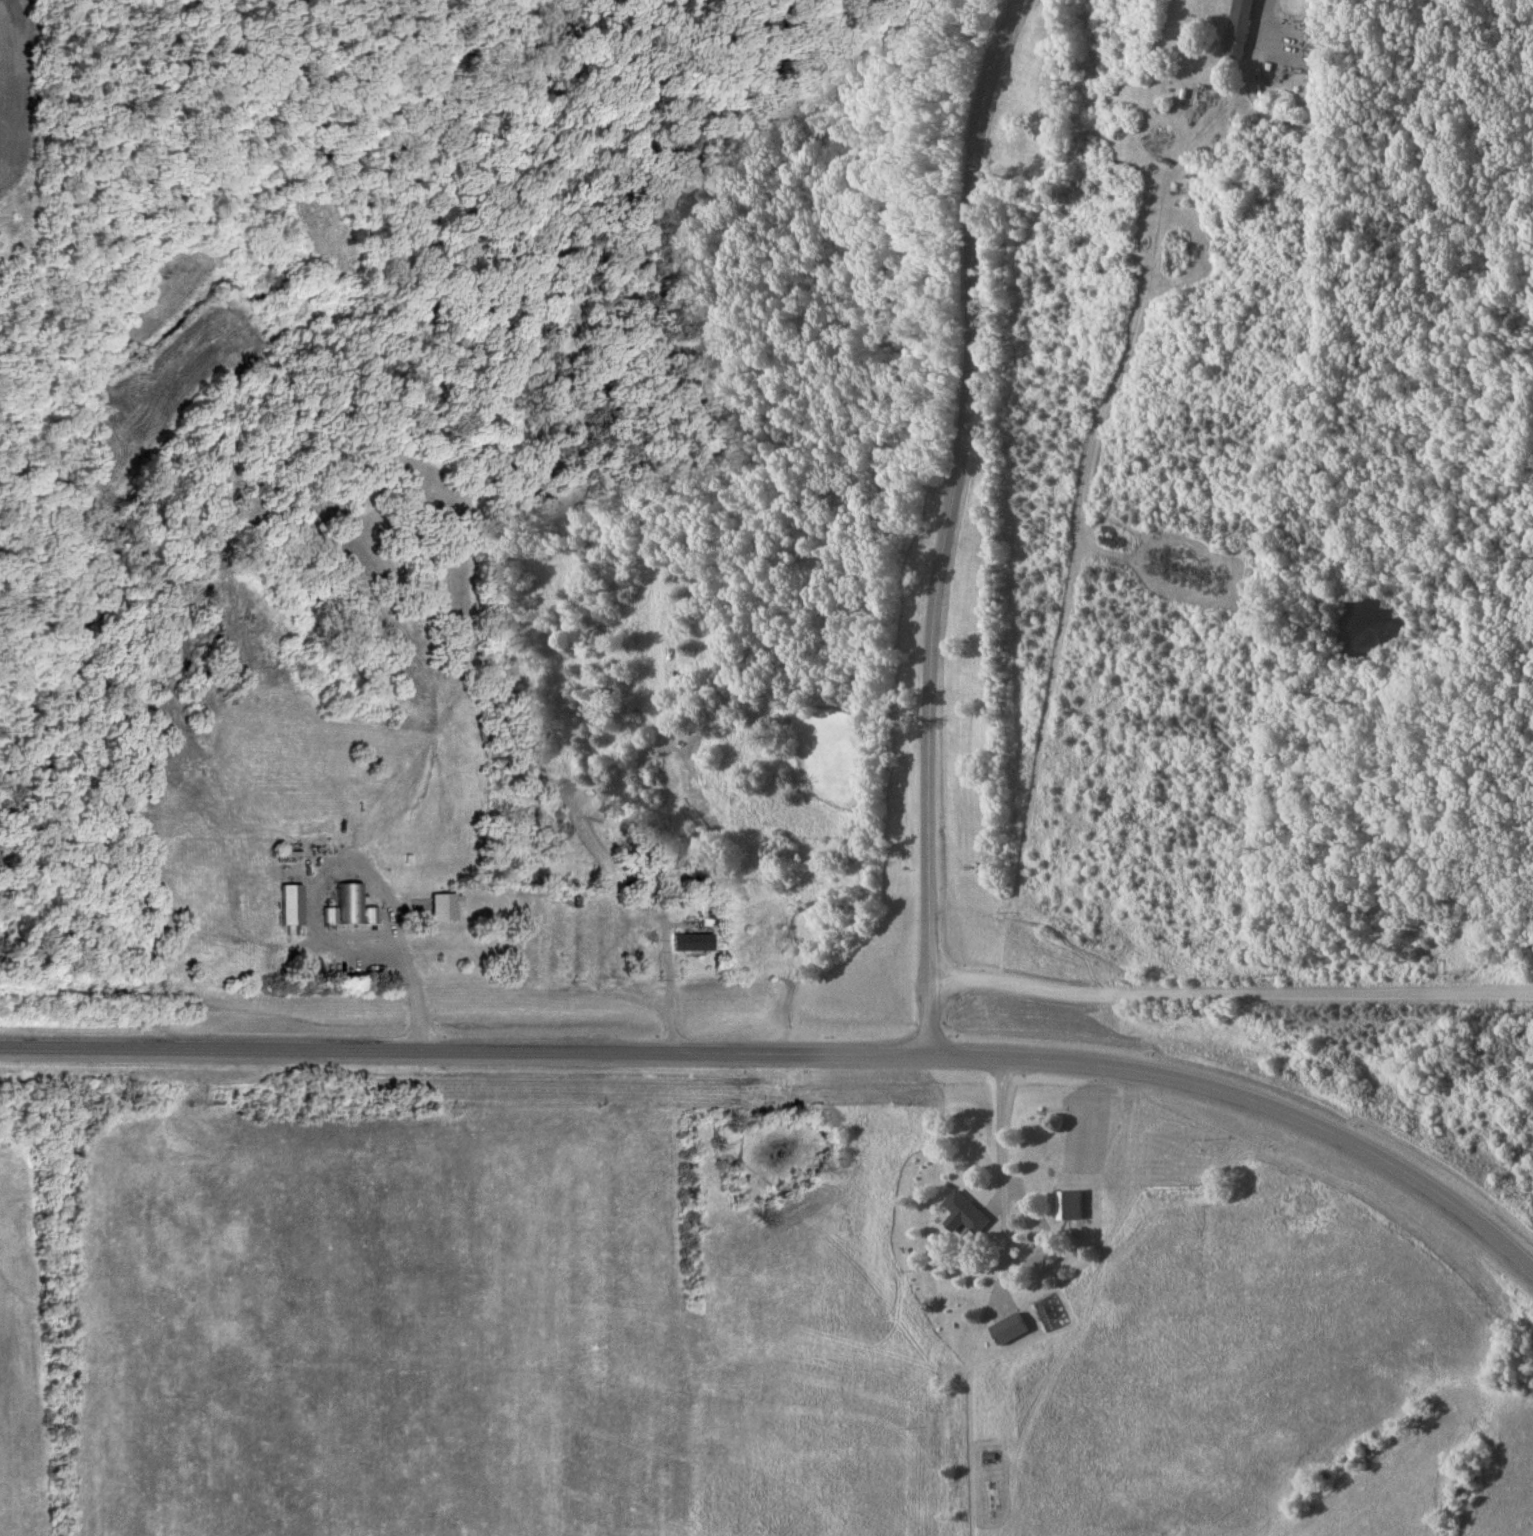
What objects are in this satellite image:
road: (1267, 11)
building: (1239, 29)
road: (890, 53)
road: (296, 70)
park: (764, 480)
road: (951, 525)
road: (970, 526)
building: (294, 906)
building: (350, 906)
building: (446, 907)
building: (650, 941)
building: (693, 942)
road: (411, 982)
road: (1230, 995)
road: (675, 1032)
road: (794, 1056)
road: (1004, 1122)
building: (1071, 1205)
building: (974, 1216)
road: (1007, 1261)
building: (1011, 1329)

